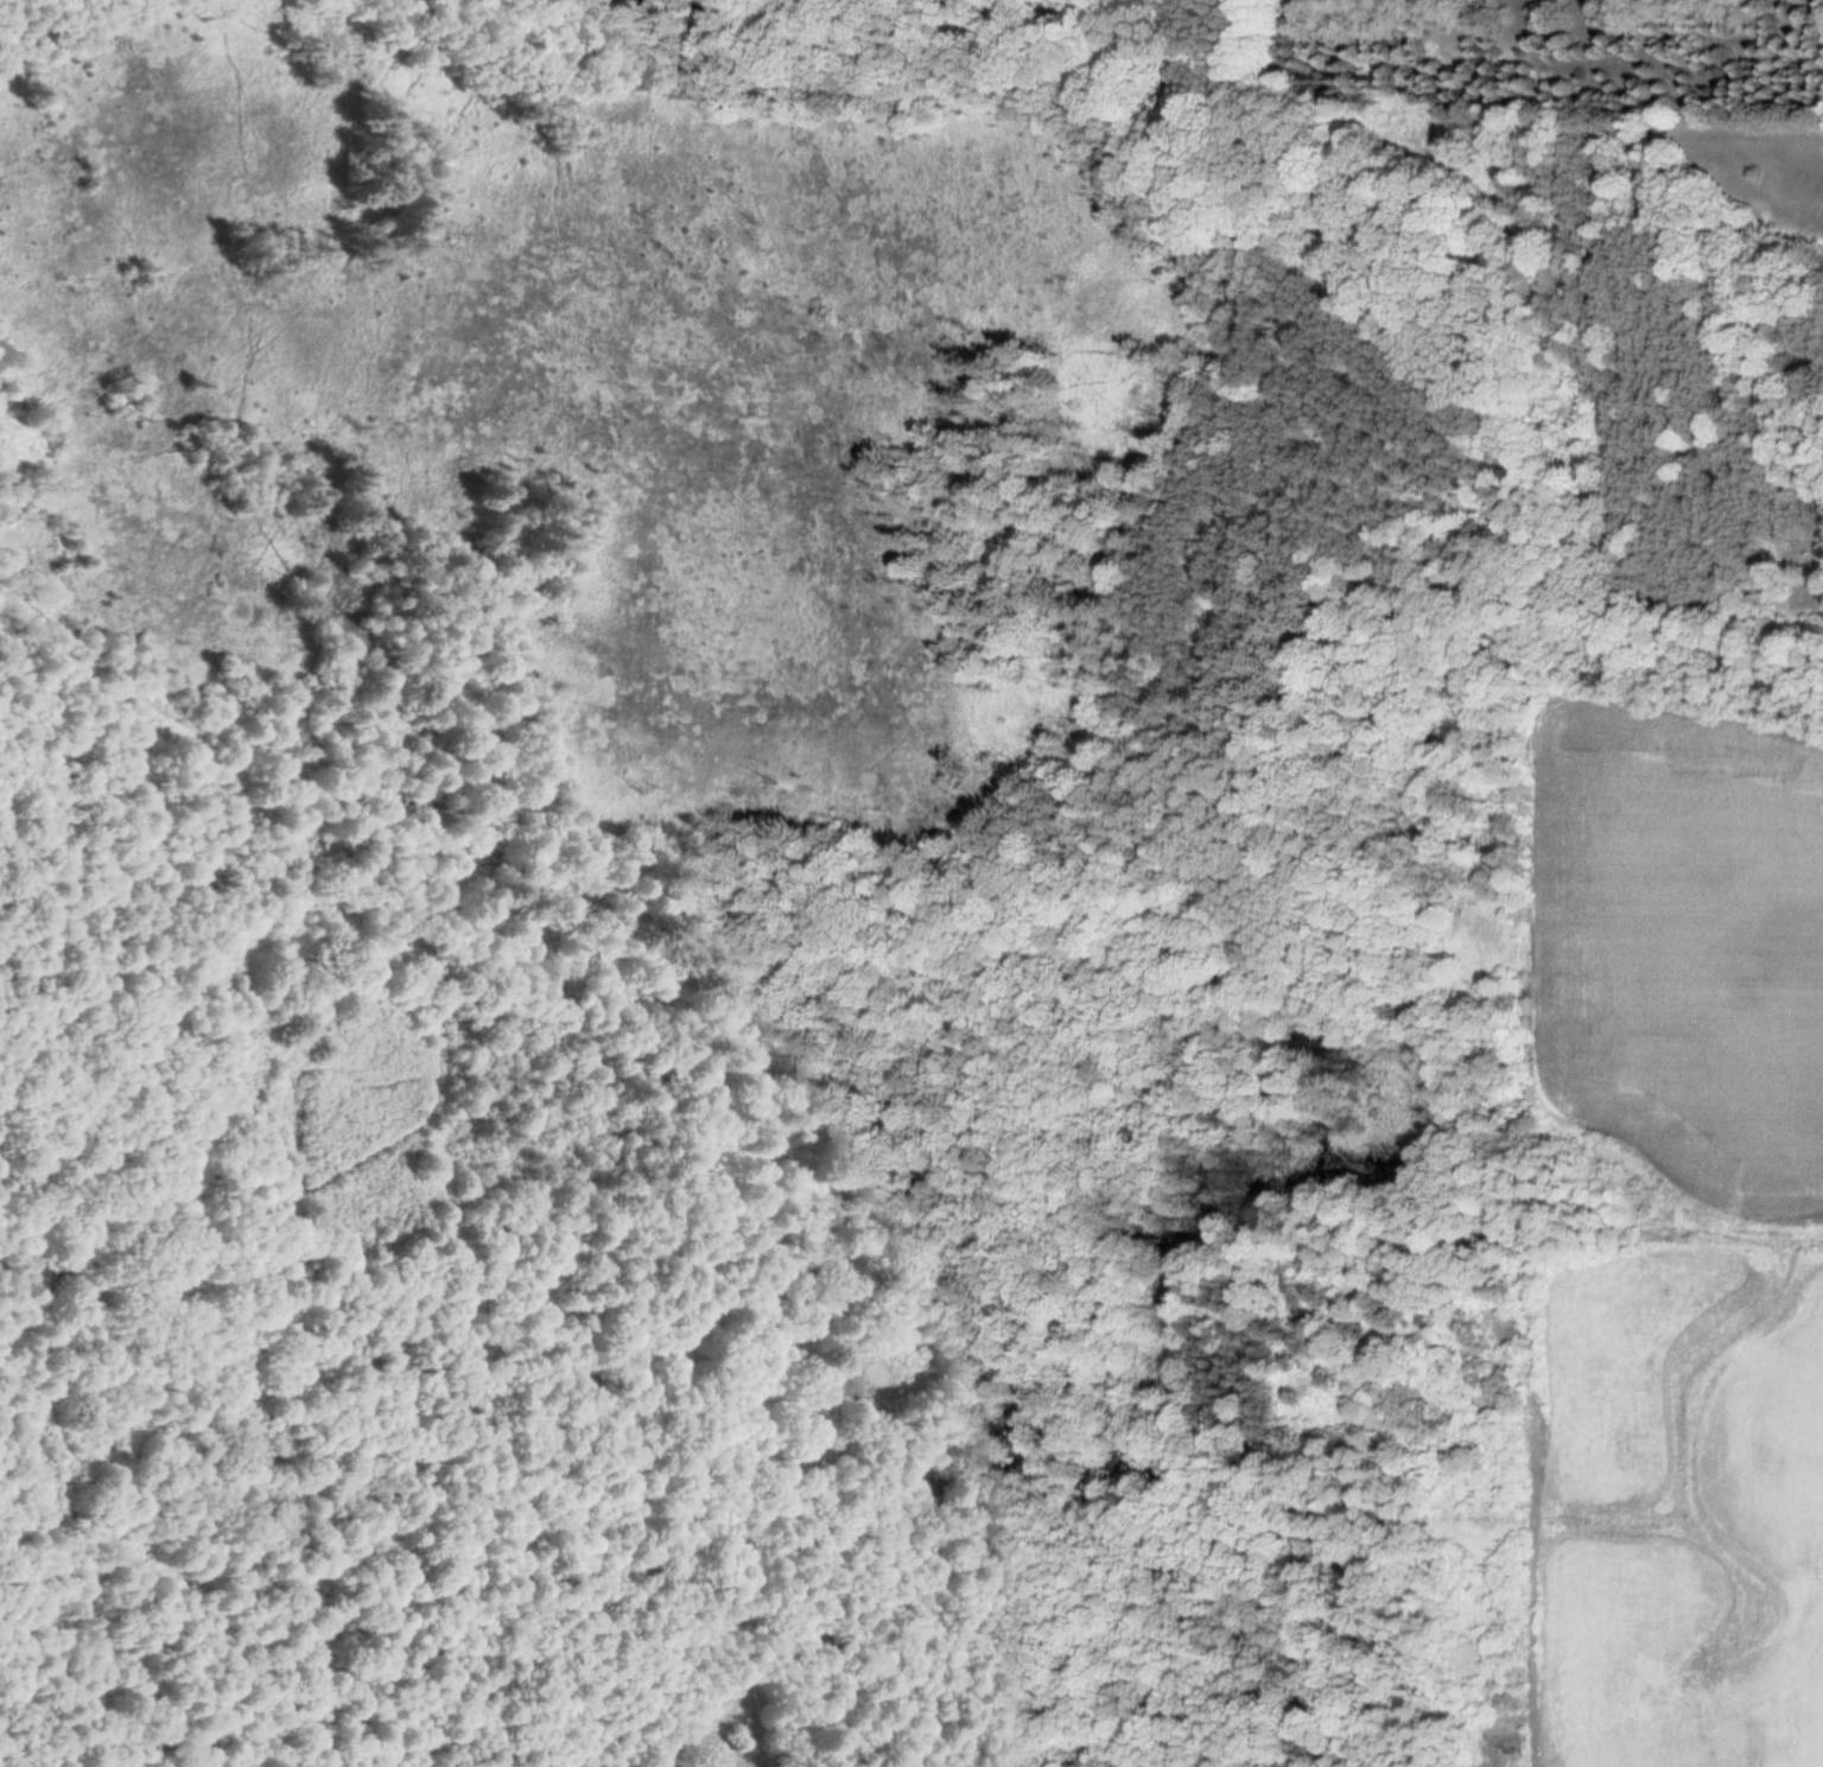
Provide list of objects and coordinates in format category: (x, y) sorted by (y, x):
building: (686, 1741)

